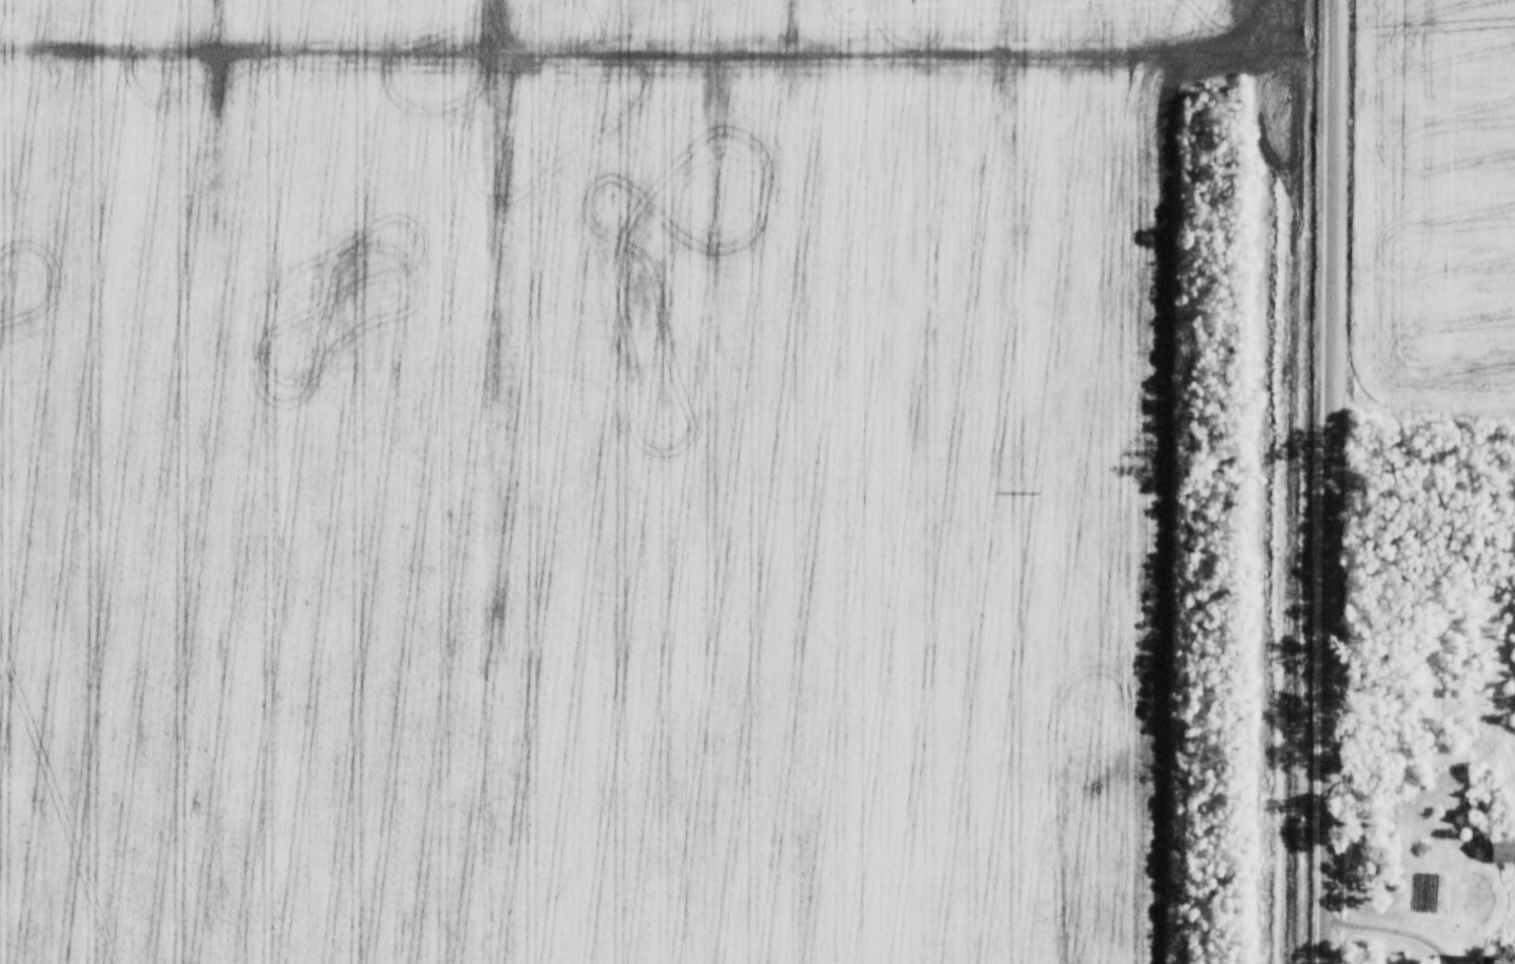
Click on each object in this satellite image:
road: (1331, 482)
road: (1395, 925)

